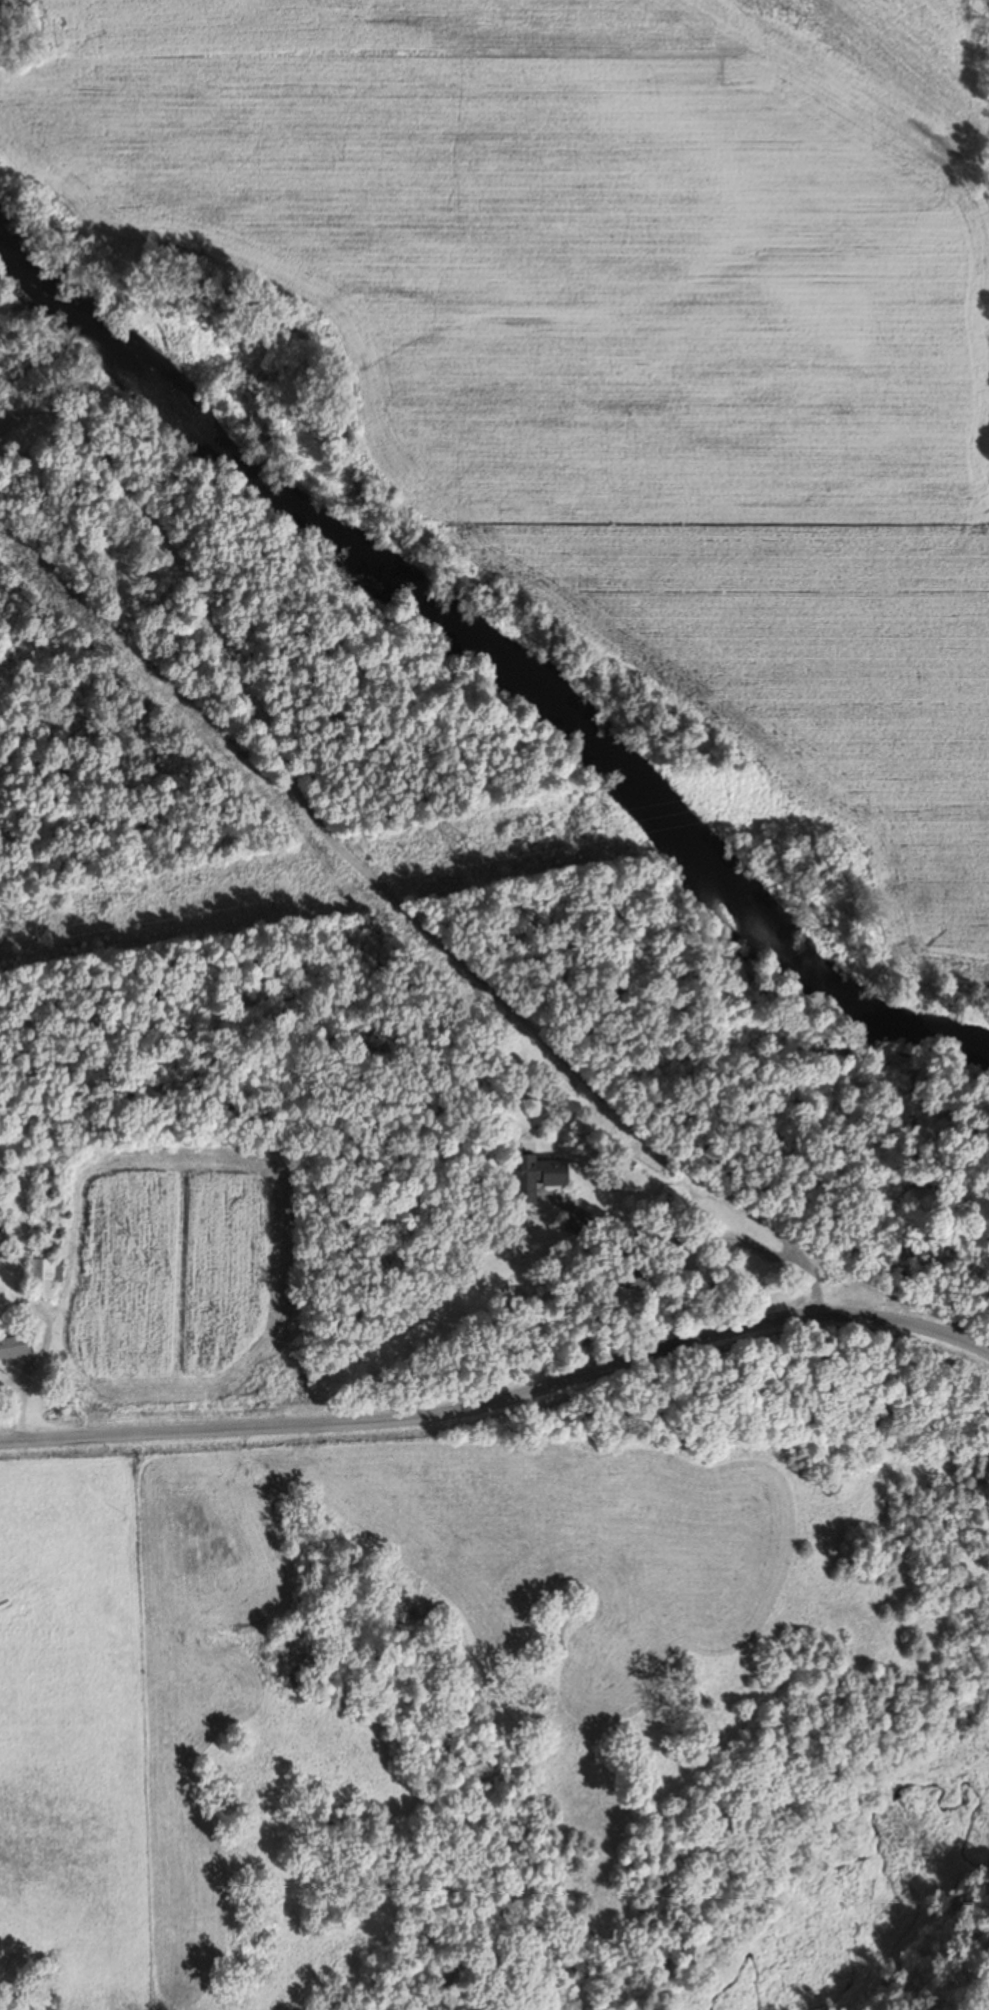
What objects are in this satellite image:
river: (482, 674)
road: (407, 824)
power tower: (476, 846)
power tower: (32, 927)
building: (535, 1175)
building: (40, 1278)
building: (631, 1278)
building: (14, 1347)
road: (503, 1383)

